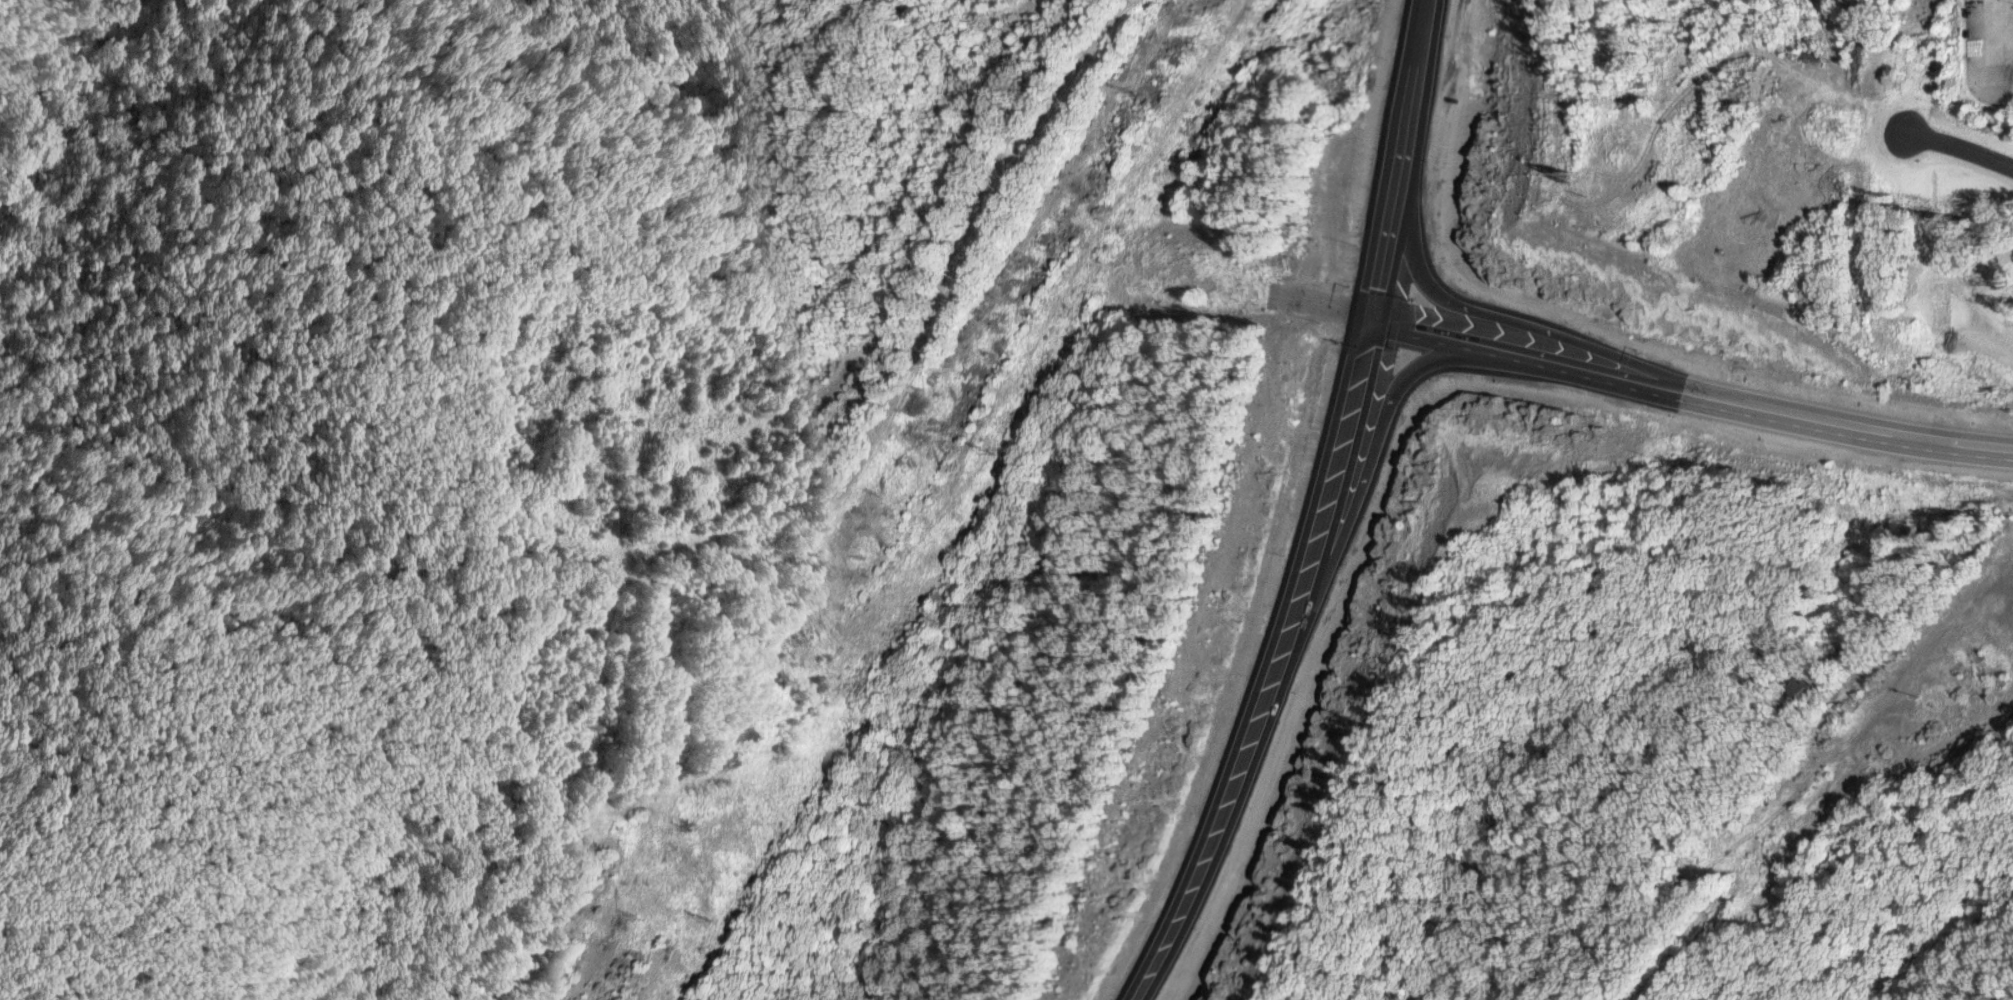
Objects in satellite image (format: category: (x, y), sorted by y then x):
road: (2010, 25)
power tower: (1133, 91)
road: (1386, 159)
traffic signals: (1356, 318)
road: (1496, 324)
road: (1682, 394)
road: (1357, 423)
power tower: (990, 457)
power tower: (905, 463)
road: (1255, 664)
power tower: (637, 918)
power tower: (706, 924)

